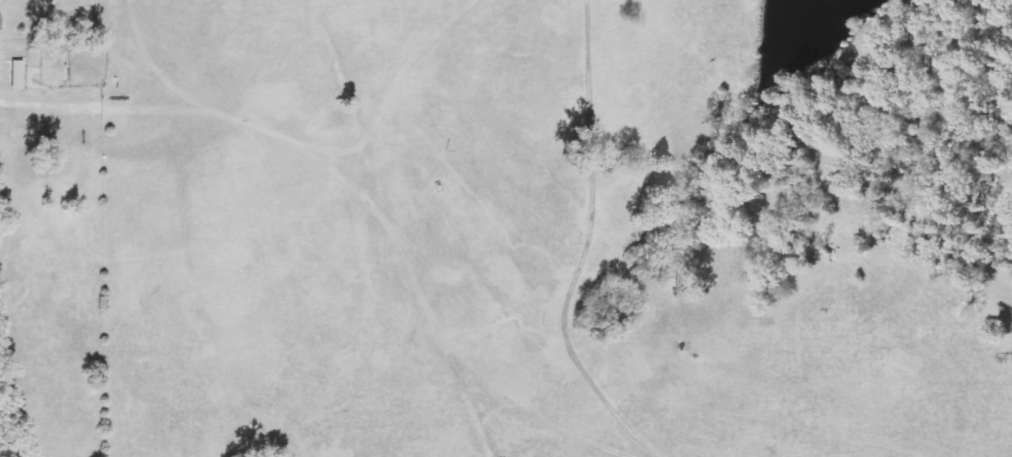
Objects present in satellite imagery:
road: (329, 201)

